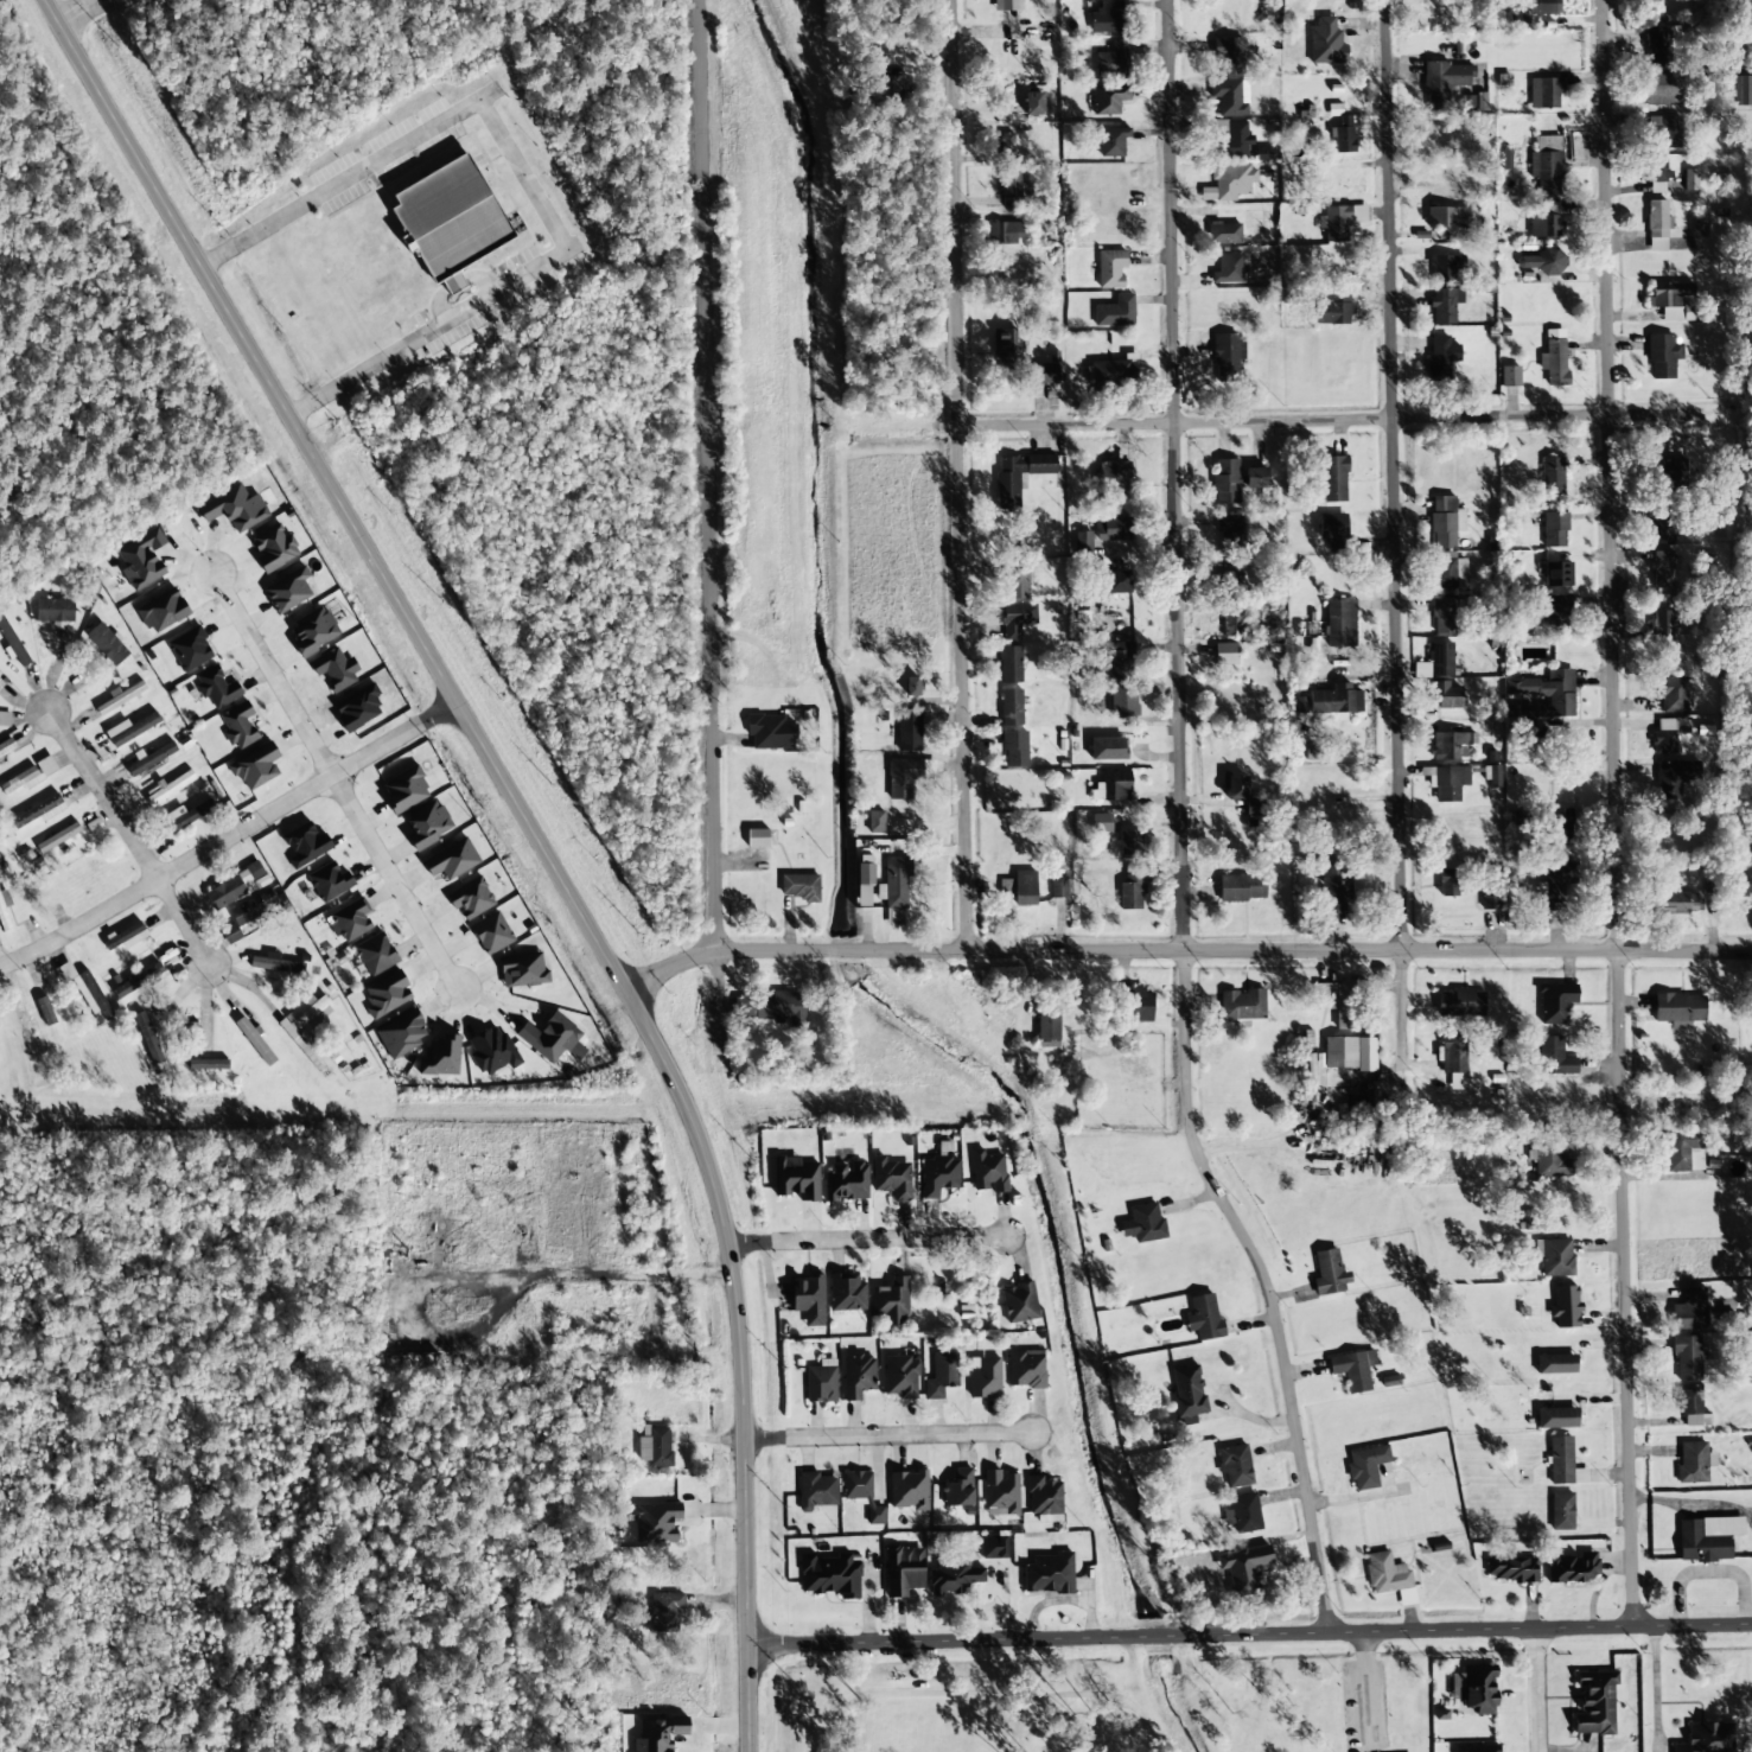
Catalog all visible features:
building: (1006, 5)
building: (1542, 7)
building: (1107, 18)
building: (1325, 42)
building: (1657, 49)
building: (1229, 55)
building: (1113, 59)
building: (1444, 83)
building: (888, 88)
building: (1662, 89)
building: (1741, 90)
building: (1544, 94)
building: (1229, 97)
building: (1108, 100)
building: (1033, 103)
building: (1333, 109)
building: (1664, 133)
building: (1343, 135)
building: (1111, 141)
building: (1234, 141)
building: (1006, 144)
building: (1546, 165)
building: (1655, 168)
building: (1690, 180)
building: (1230, 183)
building: (1011, 184)
building: (1656, 187)
building: (1251, 217)
building: (451, 221)
building: (1544, 221)
building: (1339, 222)
building: (1658, 225)
building: (1699, 229)
building: (1005, 234)
building: (1223, 234)
building: (1542, 261)
building: (1445, 267)
building: (1110, 269)
building: (1229, 269)
building: (1445, 305)
building: (1673, 305)
building: (1333, 310)
building: (1115, 312)
building: (1008, 350)
building: (1227, 356)
building: (1662, 356)
building: (1441, 357)
building: (1554, 358)
building: (1113, 370)
building: (1043, 374)
building: (1509, 376)
road: (1196, 422)
building: (1671, 470)
road: (957, 476)
building: (1113, 476)
building: (1553, 477)
building: (1255, 478)
building: (1333, 479)
building: (1227, 480)
building: (1008, 492)
building: (234, 508)
road: (708, 522)
building: (1445, 522)
building: (1659, 525)
building: (1332, 527)
building: (1113, 529)
building: (1554, 530)
building: (1228, 535)
road: (1394, 535)
building: (1082, 543)
building: (274, 548)
building: (141, 560)
building: (1663, 571)
building: (1448, 572)
building: (1557, 574)
building: (1013, 580)
building: (1117, 582)
building: (288, 591)
building: (1231, 601)
building: (55, 612)
building: (1556, 613)
building: (1442, 616)
building: (1014, 619)
building: (1340, 623)
building: (1315, 625)
building: (1662, 625)
building: (313, 631)
building: (12, 644)
building: (107, 644)
building: (190, 649)
building: (1225, 654)
building: (1009, 664)
building: (335, 669)
building: (1121, 682)
building: (912, 687)
building: (216, 688)
building: (1547, 693)
building: (1671, 694)
building: (1445, 695)
building: (121, 696)
building: (1330, 701)
building: (1011, 707)
building: (357, 708)
building: (5, 719)
building: (1521, 719)
building: (238, 726)
building: (130, 730)
building: (909, 730)
building: (771, 732)
building: (1668, 734)
building: (1451, 745)
building: (6, 747)
building: (1014, 748)
building: (1107, 748)
building: (151, 758)
building: (255, 767)
building: (30, 776)
building: (902, 777)
building: (1675, 779)
road: (335, 781)
building: (1446, 782)
building: (1111, 786)
building: (167, 788)
building: (1235, 788)
building: (406, 790)
building: (38, 811)
building: (187, 814)
road: (1614, 815)
building: (875, 822)
building: (1560, 823)
building: (427, 824)
road: (1180, 829)
road: (531, 833)
building: (1120, 835)
road: (229, 836)
building: (57, 837)
road: (129, 837)
building: (757, 839)
building: (305, 845)
building: (452, 860)
building: (1738, 880)
building: (330, 881)
building: (864, 881)
building: (1447, 883)
building: (1556, 883)
building: (235, 886)
building: (798, 887)
building: (1058, 887)
building: (1132, 887)
building: (894, 888)
building: (1024, 888)
building: (1242, 888)
building: (1333, 888)
building: (1490, 897)
building: (471, 898)
building: (1678, 903)
building: (253, 907)
building: (4, 911)
building: (349, 920)
building: (232, 934)
building: (491, 934)
building: (126, 937)
road: (1184, 953)
building: (375, 954)
building: (276, 964)
building: (523, 970)
building: (136, 981)
building: (85, 990)
building: (387, 995)
building: (1326, 996)
building: (1135, 1002)
building: (1555, 1002)
building: (1460, 1004)
building: (1242, 1006)
building: (770, 1007)
building: (1678, 1009)
building: (45, 1011)
building: (304, 1019)
building: (1047, 1024)
building: (402, 1034)
building: (549, 1038)
building: (255, 1041)
building: (491, 1051)
building: (1350, 1053)
building: (440, 1057)
building: (1552, 1058)
building: (1453, 1059)
building: (208, 1064)
building: (1683, 1151)
building: (1549, 1157)
building: (987, 1172)
building: (937, 1174)
building: (891, 1178)
building: (796, 1179)
building: (845, 1181)
building: (1142, 1223)
road: (867, 1241)
building: (1556, 1257)
building: (1327, 1274)
building: (845, 1292)
building: (807, 1299)
building: (888, 1299)
building: (1017, 1302)
building: (1565, 1307)
building: (1688, 1310)
building: (1203, 1317)
building: (1686, 1357)
building: (1555, 1364)
building: (1024, 1369)
building: (1351, 1370)
building: (859, 1374)
building: (939, 1375)
building: (898, 1376)
building: (983, 1377)
building: (818, 1384)
building: (1186, 1394)
building: (1689, 1408)
building: (1556, 1417)
road: (890, 1436)
building: (654, 1446)
building: (1563, 1463)
building: (1690, 1463)
building: (1364, 1466)
building: (1234, 1467)
building: (956, 1487)
building: (906, 1489)
building: (815, 1490)
building: (1000, 1490)
building: (860, 1493)
building: (1043, 1496)
building: (1560, 1511)
building: (1243, 1512)
building: (655, 1522)
building: (1705, 1538)
building: (993, 1547)
building: (1257, 1565)
building: (1510, 1569)
building: (1572, 1569)
building: (905, 1571)
building: (828, 1573)
building: (1046, 1573)
building: (1383, 1574)
building: (950, 1576)
building: (1407, 1597)
building: (663, 1612)
road: (1249, 1635)
road: (1012, 1684)
building: (1476, 1688)
road: (1536, 1690)
park: (1089, 1695)
building: (1593, 1702)
building: (658, 1734)
building: (1705, 1738)
building: (1474, 1748)

